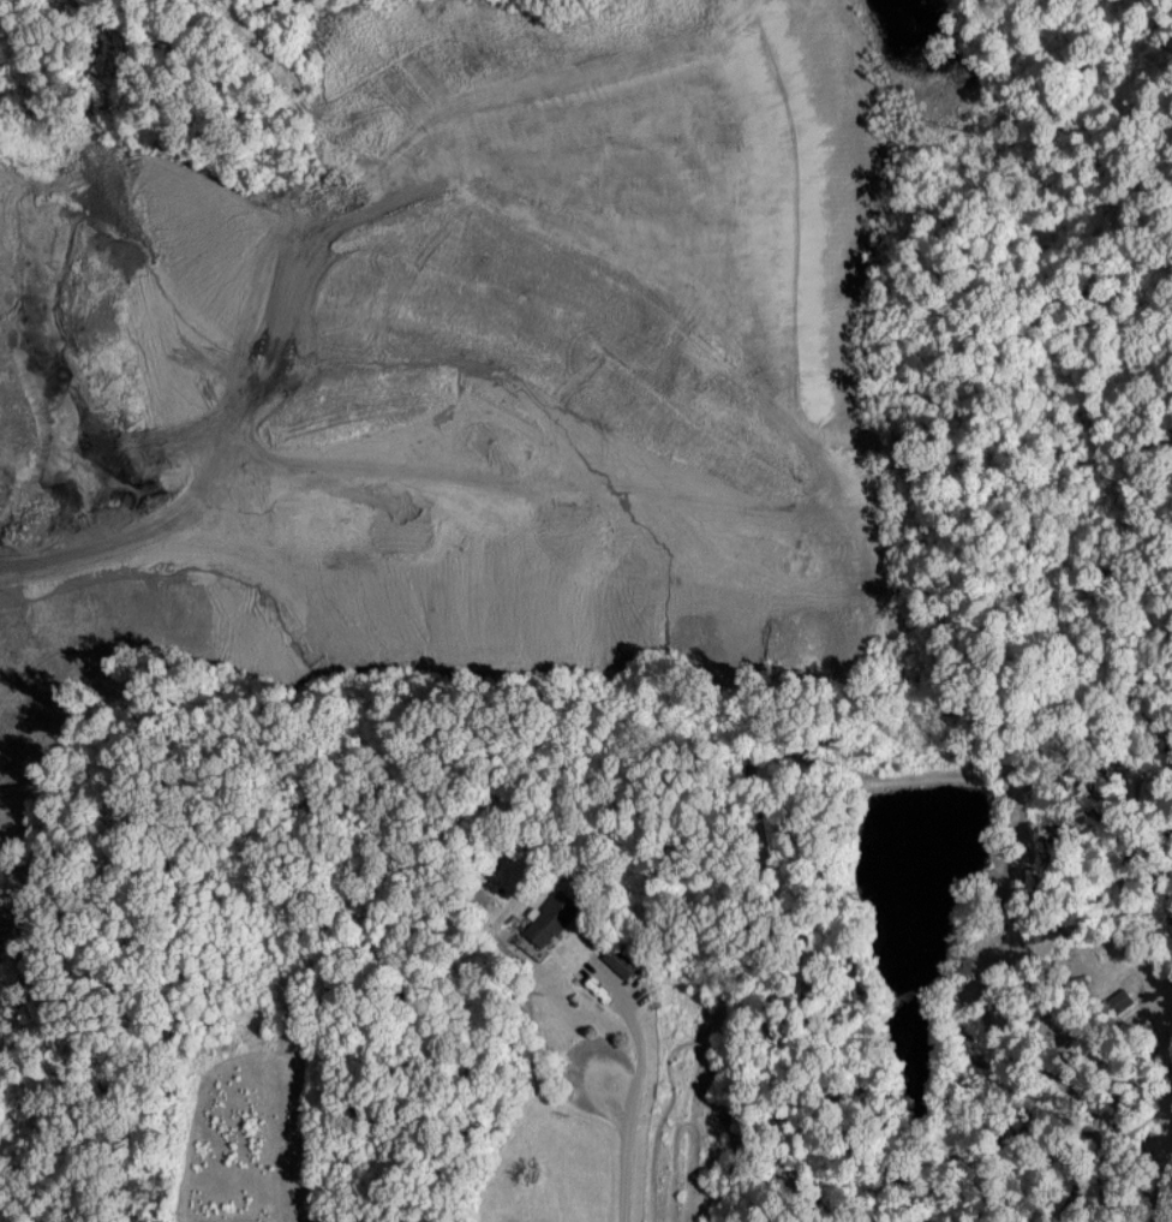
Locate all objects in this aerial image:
building: (548, 919)
building: (617, 960)
building: (1117, 1000)
road: (634, 1091)

